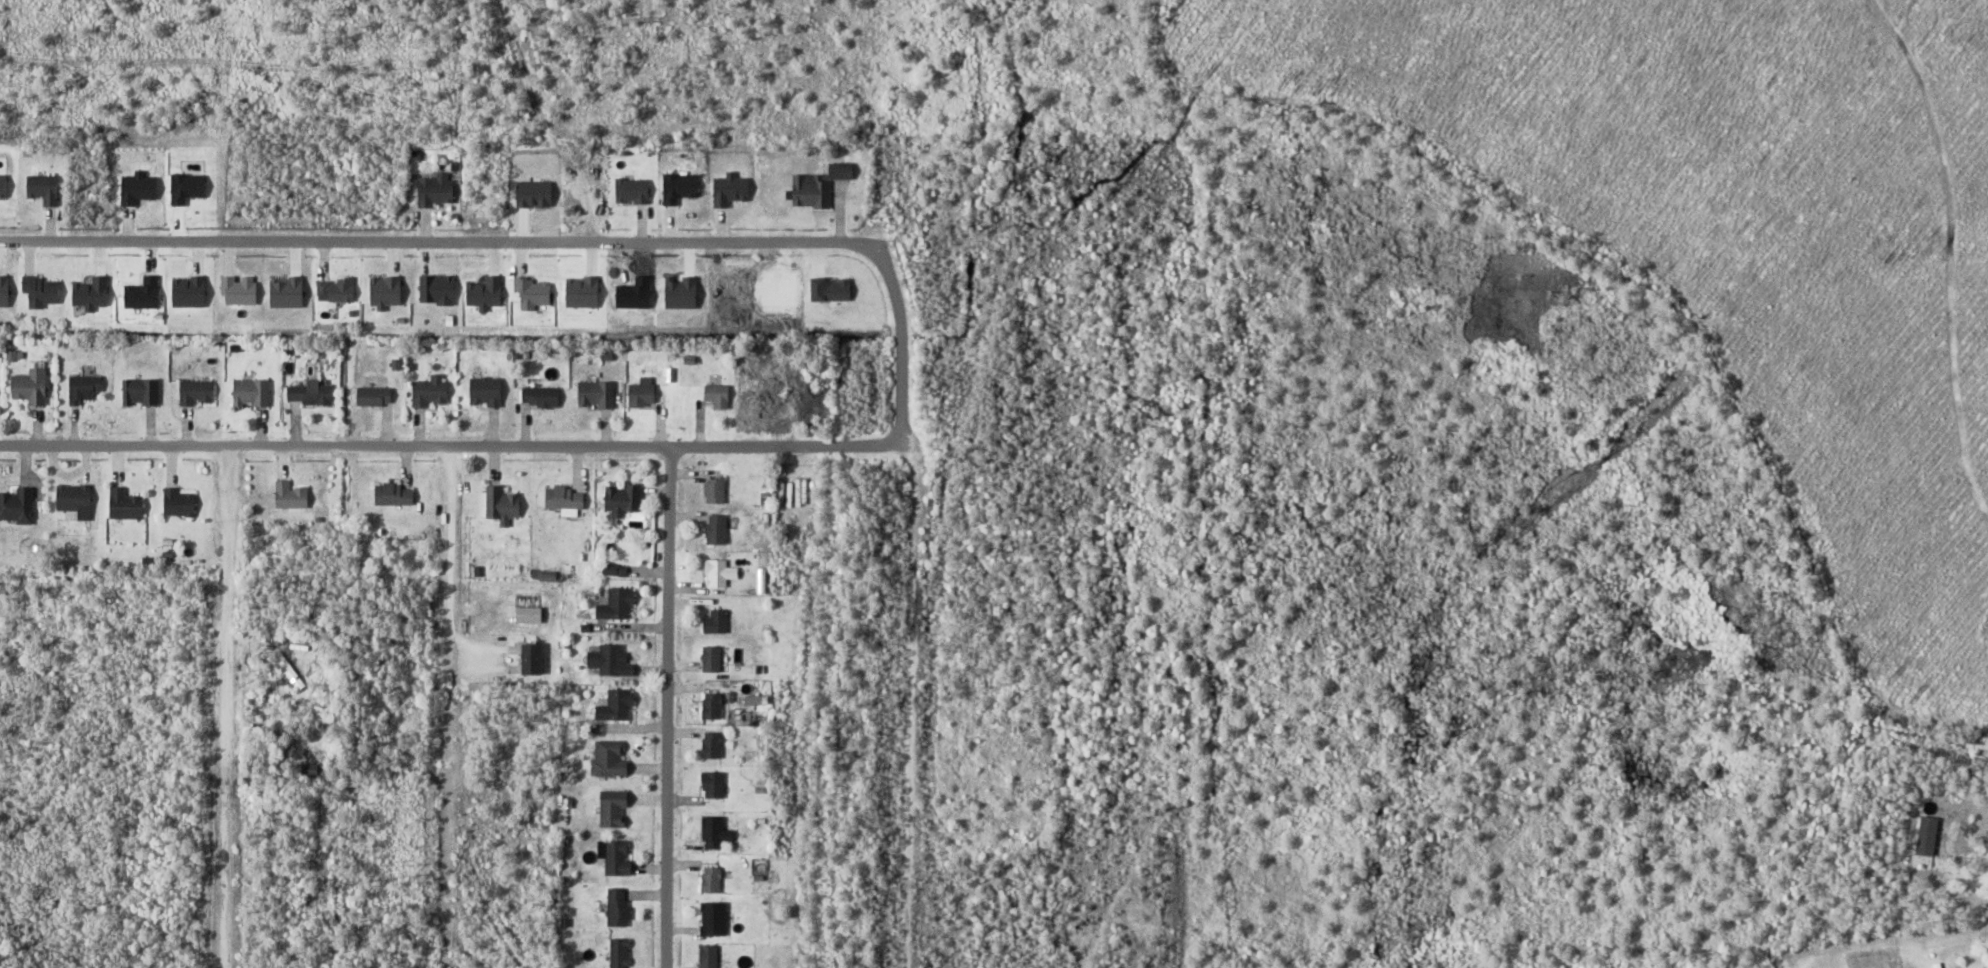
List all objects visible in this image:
building: (819, 186)
building: (44, 189)
building: (436, 190)
road: (439, 243)
road: (1953, 256)
building: (42, 292)
road: (899, 344)
building: (31, 387)
building: (85, 389)
building: (141, 392)
building: (432, 392)
building: (486, 392)
building: (197, 393)
building: (252, 393)
building: (310, 394)
building: (597, 395)
building: (642, 396)
building: (375, 397)
building: (541, 397)
building: (718, 397)
road: (452, 445)
building: (716, 491)
building: (291, 496)
building: (395, 496)
building: (566, 499)
building: (624, 500)
building: (75, 501)
building: (179, 503)
building: (502, 504)
road: (672, 504)
building: (126, 505)
building: (17, 506)
building: (718, 530)
building: (717, 573)
building: (617, 605)
building: (715, 622)
building: (711, 659)
building: (609, 661)
building: (712, 705)
road: (231, 706)
road: (449, 706)
building: (616, 706)
building: (711, 744)
building: (608, 757)
road: (672, 765)
building: (713, 784)
building: (612, 809)
building: (713, 832)
building: (615, 856)
road: (1958, 878)
building: (712, 879)
building: (619, 907)
building: (714, 918)
building: (619, 953)
building: (708, 956)
building: (1937, 965)

